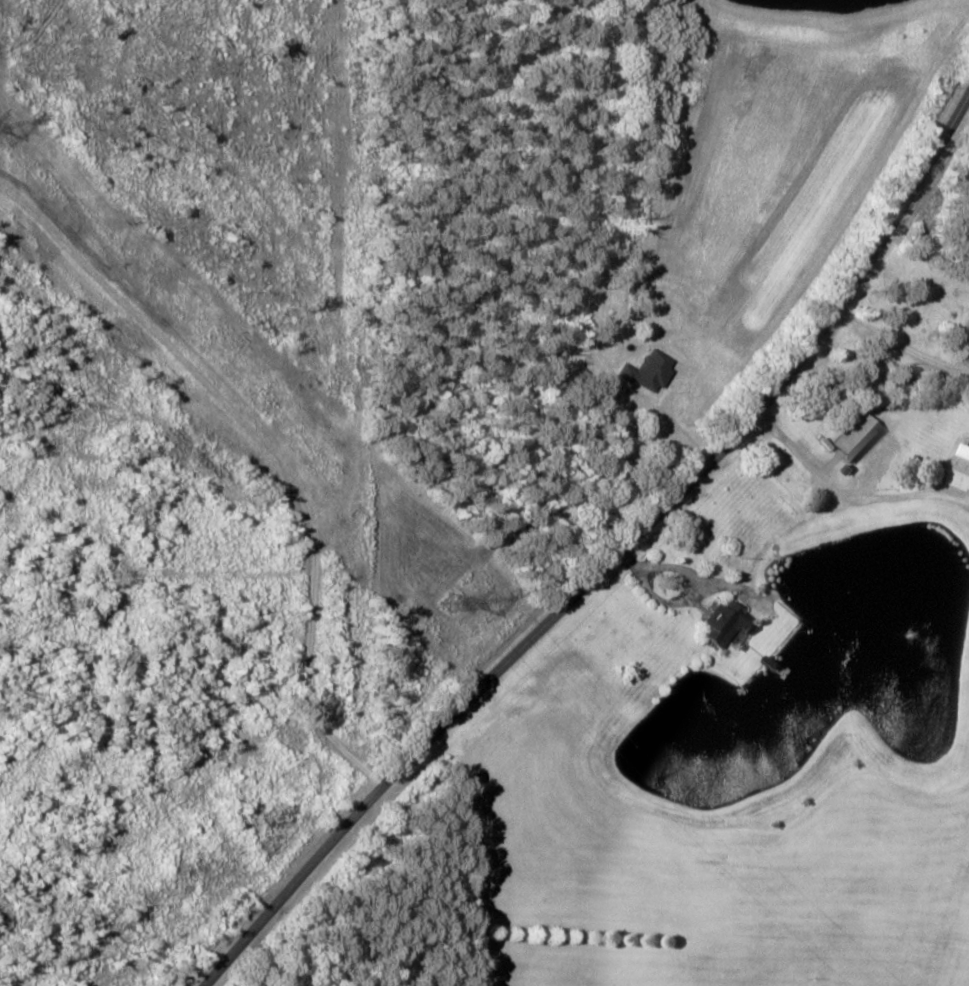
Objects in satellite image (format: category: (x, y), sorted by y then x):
building: (649, 370)
building: (860, 436)
building: (962, 468)
road: (640, 580)
power tower: (443, 606)
building: (729, 623)

